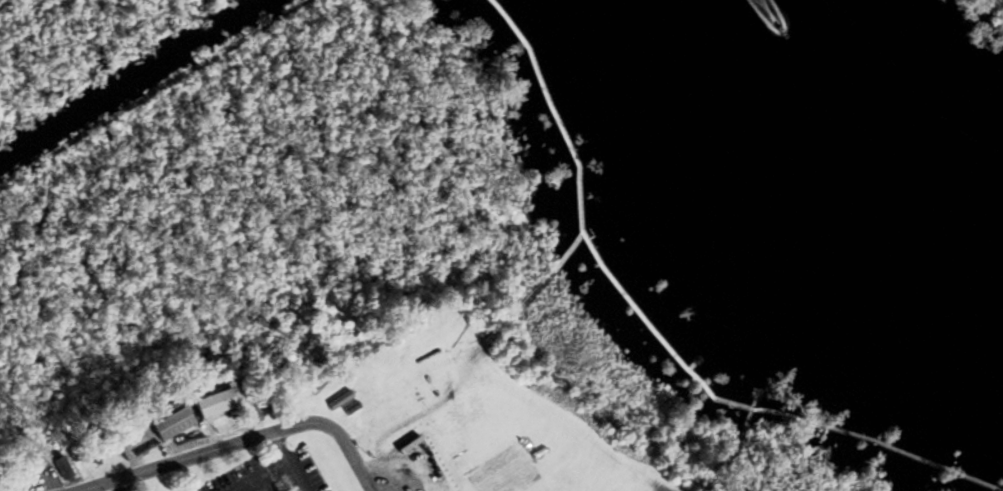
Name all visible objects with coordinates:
river: (837, 157)
road: (533, 288)
road: (654, 337)
building: (338, 401)
building: (218, 403)
building: (176, 423)
road: (739, 431)
road: (212, 433)
road: (242, 440)
road: (284, 462)
building: (65, 466)
parking lot: (304, 471)
road: (258, 476)
parking lot: (243, 477)
road: (116, 484)
road: (998, 490)

